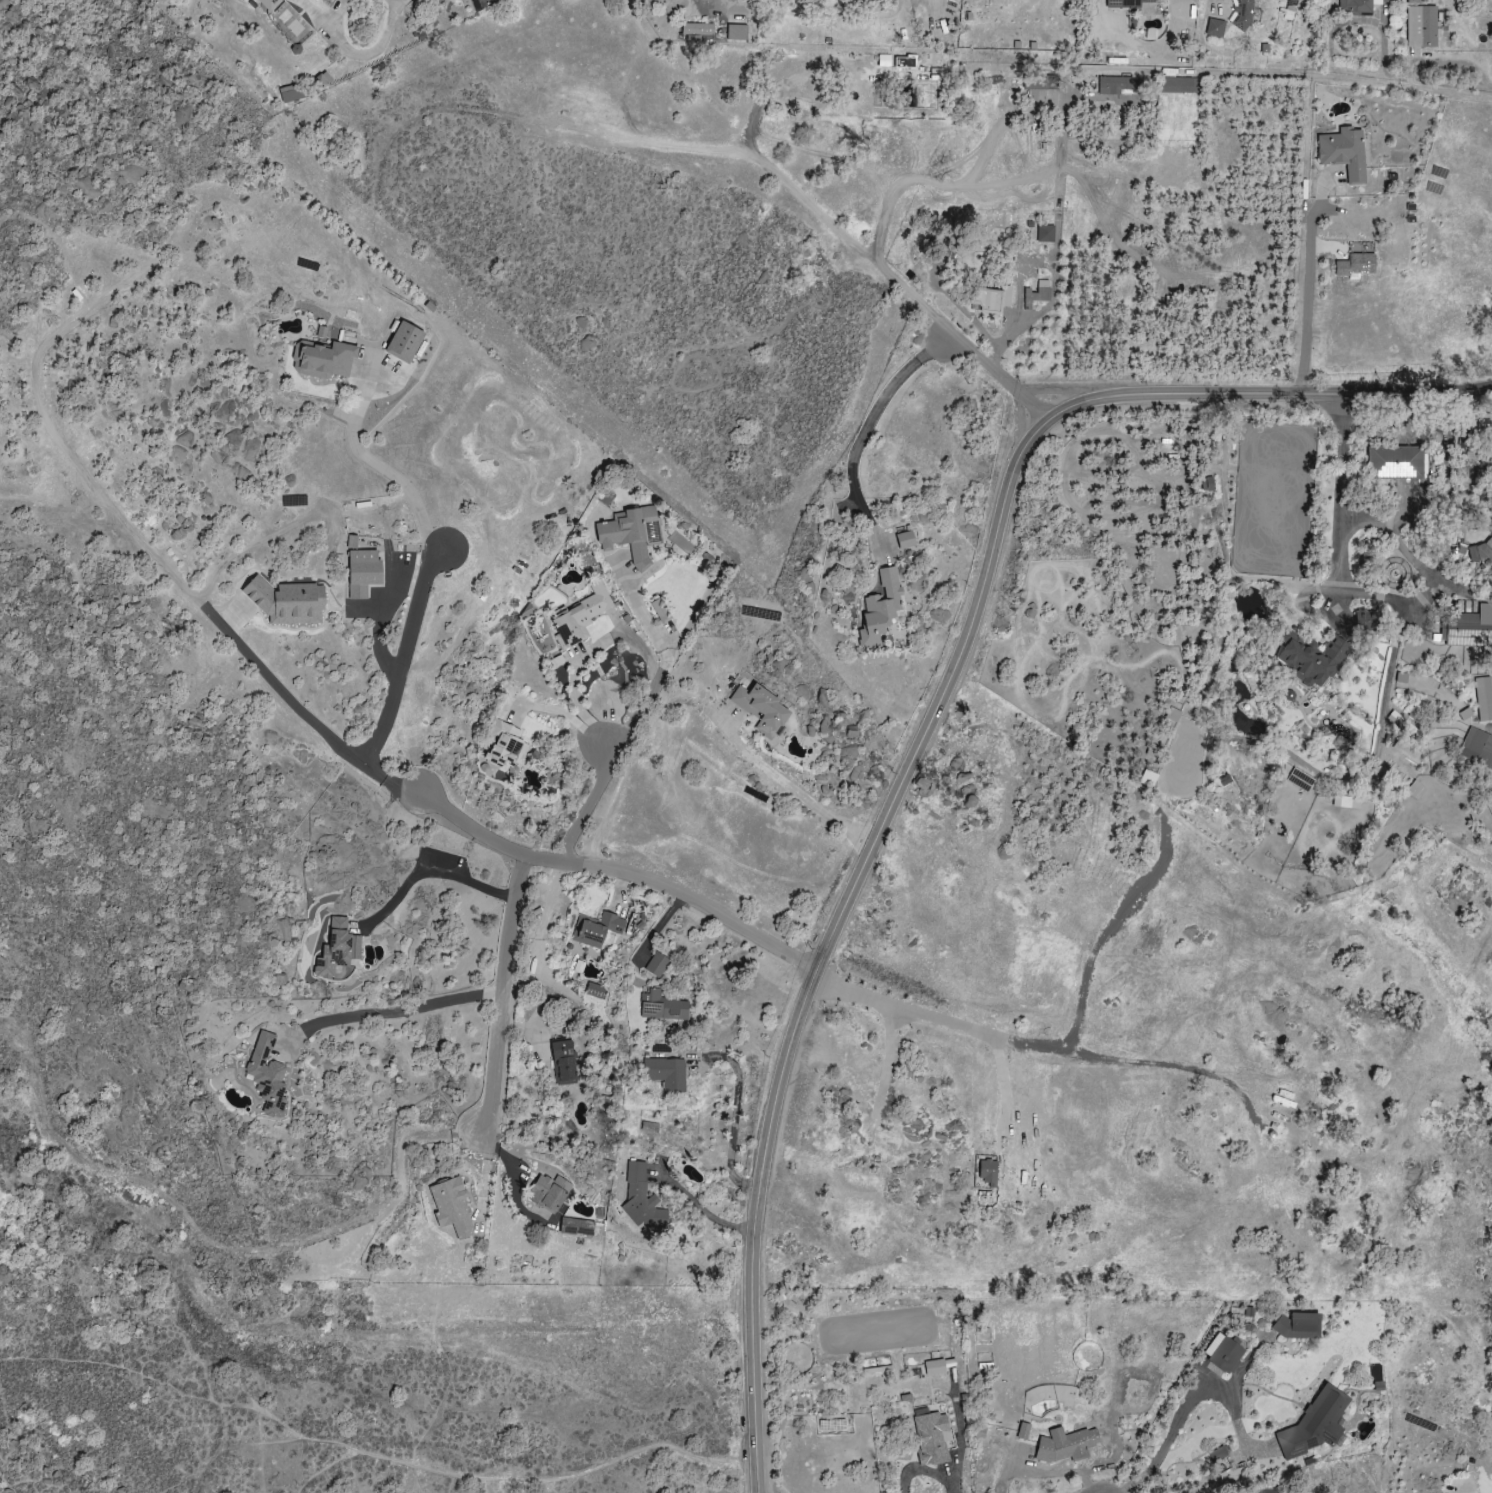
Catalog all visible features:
building: (349, 2)
building: (1414, 2)
road: (397, 3)
building: (1125, 3)
building: (268, 4)
building: (1357, 5)
building: (1287, 10)
building: (283, 14)
building: (1240, 14)
building: (1421, 26)
building: (1215, 28)
building: (698, 29)
building: (737, 33)
road: (352, 51)
road: (1225, 77)
building: (320, 81)
building: (1118, 85)
building: (1178, 85)
building: (293, 93)
building: (1344, 153)
building: (1046, 234)
road: (852, 243)
building: (1356, 266)
building: (1039, 293)
building: (990, 301)
road: (1302, 304)
building: (406, 342)
building: (324, 360)
road: (998, 376)
road: (865, 426)
building: (1395, 462)
road: (374, 466)
building: (1207, 484)
building: (631, 533)
building: (906, 540)
building: (352, 543)
building: (1480, 552)
road: (1412, 560)
building: (364, 573)
road: (1415, 593)
building: (288, 602)
building: (881, 610)
building: (661, 611)
road: (640, 614)
building: (581, 617)
building: (1362, 619)
building: (1467, 629)
road: (1395, 644)
road: (403, 658)
building: (1314, 659)
building: (1484, 698)
building: (764, 710)
road: (300, 717)
road: (571, 718)
road: (922, 733)
building: (507, 747)
building: (1477, 748)
road: (614, 764)
building: (1147, 778)
road: (788, 787)
building: (1416, 790)
road: (434, 869)
building: (597, 930)
building: (338, 949)
building: (658, 965)
building: (665, 1008)
road: (392, 1009)
road: (510, 1013)
road: (1042, 1047)
building: (563, 1063)
building: (666, 1074)
building: (650, 1128)
building: (990, 1173)
building: (550, 1194)
building: (642, 1201)
building: (452, 1207)
road: (700, 1209)
building: (577, 1228)
building: (1298, 1325)
building: (1224, 1352)
building: (935, 1367)
road: (240, 1416)
road: (1174, 1424)
building: (1315, 1424)
building: (1024, 1431)
building: (932, 1438)
building: (1067, 1444)
building: (1218, 1454)
road: (646, 1458)
road: (1049, 1475)
road: (1484, 1488)
building: (1302, 1491)

